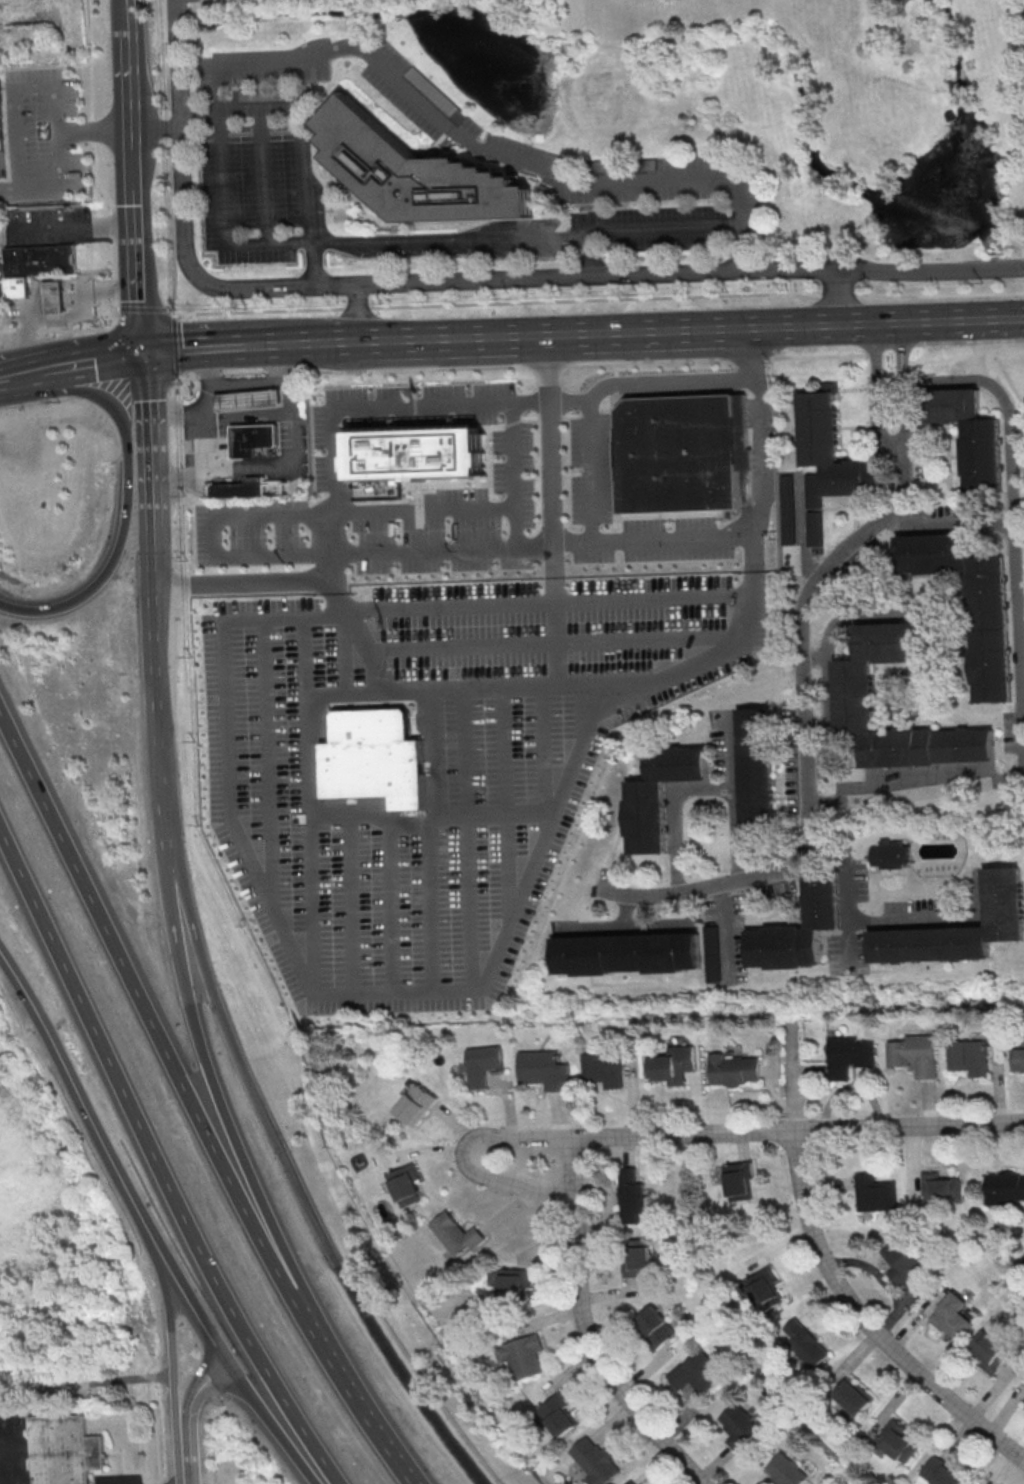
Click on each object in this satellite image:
road: (799, 4)
road: (126, 6)
road: (790, 6)
road: (724, 15)
road: (736, 31)
road: (271, 58)
road: (90, 60)
road: (996, 71)
road: (130, 72)
road: (167, 80)
road: (767, 82)
road: (958, 84)
road: (15, 88)
road: (863, 102)
road: (264, 108)
road: (803, 123)
road: (201, 124)
road: (170, 127)
road: (94, 130)
building: (3, 133)
parking lot: (41, 134)
road: (63, 135)
road: (306, 148)
road: (133, 153)
road: (222, 153)
building: (412, 174)
road: (266, 175)
road: (636, 182)
road: (111, 226)
parking lot: (50, 227)
road: (50, 228)
road: (173, 228)
road: (457, 237)
road: (269, 241)
road: (738, 250)
road: (312, 253)
building: (40, 260)
road: (138, 262)
road: (1000, 271)
road: (446, 282)
road: (116, 284)
building: (17, 288)
road: (1001, 292)
building: (53, 297)
road: (840, 297)
road: (576, 300)
road: (145, 307)
road: (363, 312)
road: (63, 318)
road: (1003, 318)
road: (927, 320)
road: (812, 324)
road: (733, 327)
road: (665, 329)
road: (578, 331)
road: (485, 334)
road: (397, 338)
road: (1003, 339)
road: (336, 341)
road: (226, 346)
road: (175, 349)
traffic signals: (145, 351)
road: (754, 355)
road: (95, 360)
road: (581, 361)
road: (548, 367)
road: (33, 372)
road: (10, 376)
road: (902, 386)
road: (875, 394)
building: (247, 400)
gas station: (247, 400)
road: (206, 406)
road: (457, 407)
road: (1009, 410)
building: (970, 435)
road: (208, 439)
building: (252, 440)
parking lot: (285, 440)
parking lot: (221, 441)
building: (831, 448)
building: (685, 453)
building: (417, 457)
road: (289, 466)
road: (151, 471)
road: (594, 473)
road: (515, 476)
road: (292, 484)
building: (245, 488)
road: (200, 489)
road: (243, 490)
building: (812, 491)
road: (553, 492)
road: (127, 496)
building: (786, 510)
road: (283, 517)
road: (800, 526)
building: (814, 530)
road: (619, 544)
road: (656, 604)
building: (972, 605)
road: (857, 609)
road: (454, 610)
road: (559, 636)
road: (371, 656)
road: (813, 658)
road: (1020, 685)
road: (160, 694)
building: (853, 694)
road: (827, 695)
road: (732, 738)
road: (804, 742)
building: (375, 759)
building: (757, 769)
building: (657, 796)
road: (672, 813)
road: (732, 821)
road: (437, 832)
building: (889, 855)
road: (183, 880)
road: (849, 884)
road: (978, 894)
road: (915, 920)
road: (519, 925)
road: (315, 927)
building: (798, 929)
building: (958, 929)
road: (724, 930)
building: (626, 953)
building: (710, 954)
road: (146, 997)
road: (203, 1051)
building: (913, 1055)
building: (847, 1057)
building: (968, 1059)
building: (1017, 1060)
building: (483, 1064)
building: (670, 1064)
building: (603, 1068)
building: (732, 1068)
building: (543, 1069)
building: (417, 1104)
road: (86, 1108)
road: (909, 1126)
road: (682, 1133)
road: (462, 1156)
road: (161, 1165)
road: (572, 1167)
building: (734, 1180)
building: (406, 1185)
building: (1003, 1187)
building: (939, 1188)
building: (872, 1193)
building: (629, 1197)
road: (126, 1223)
building: (455, 1233)
road: (326, 1234)
building: (1022, 1255)
building: (635, 1258)
building: (901, 1258)
building: (511, 1283)
building: (762, 1289)
road: (195, 1311)
building: (948, 1316)
road: (865, 1322)
building: (654, 1326)
building: (803, 1344)
road: (176, 1345)
building: (988, 1351)
building: (519, 1355)
road: (596, 1359)
building: (696, 1372)
road: (197, 1384)
road: (356, 1388)
building: (851, 1398)
building: (1023, 1398)
building: (555, 1414)
road: (272, 1419)
building: (737, 1428)
building: (893, 1441)
building: (70, 1451)
road: (184, 1453)
building: (593, 1461)
building: (785, 1470)
building: (940, 1472)
building: (628, 1482)

